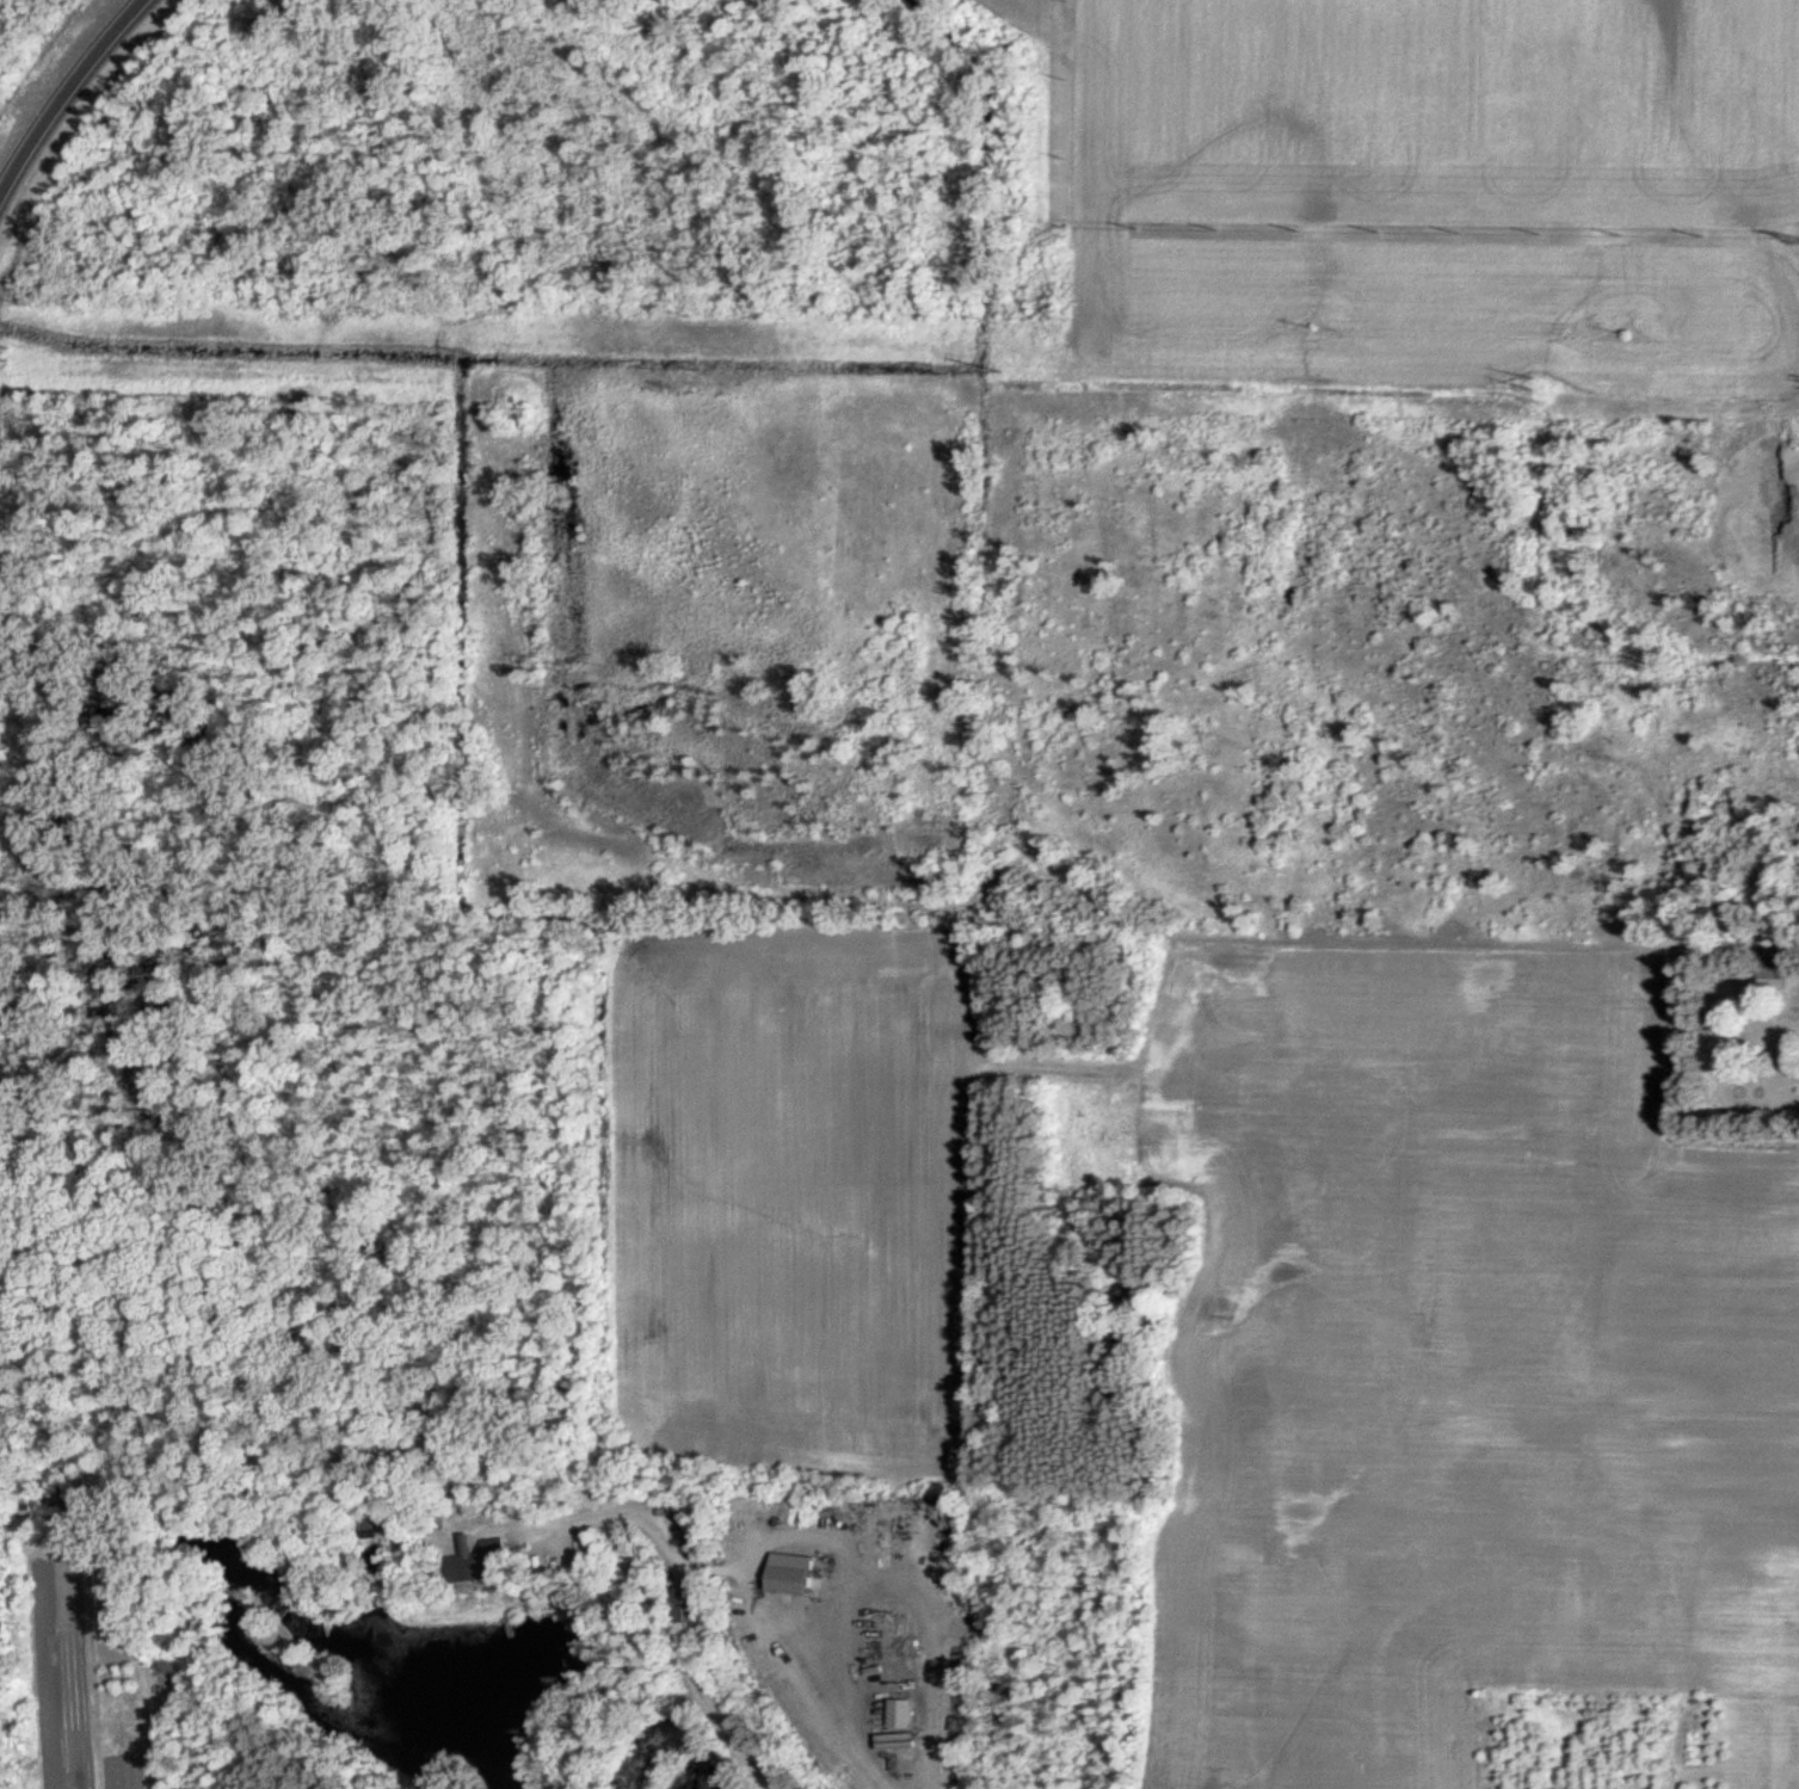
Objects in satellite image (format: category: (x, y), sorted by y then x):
road: (66, 94)
crop: (1430, 191)
power tower: (8, 354)
power tower: (475, 359)
power tower: (1002, 372)
power tower: (1535, 384)
crop: (1259, 1308)
road: (298, 1489)
building: (486, 1562)
building: (799, 1575)
building: (694, 1605)
road: (657, 1612)

